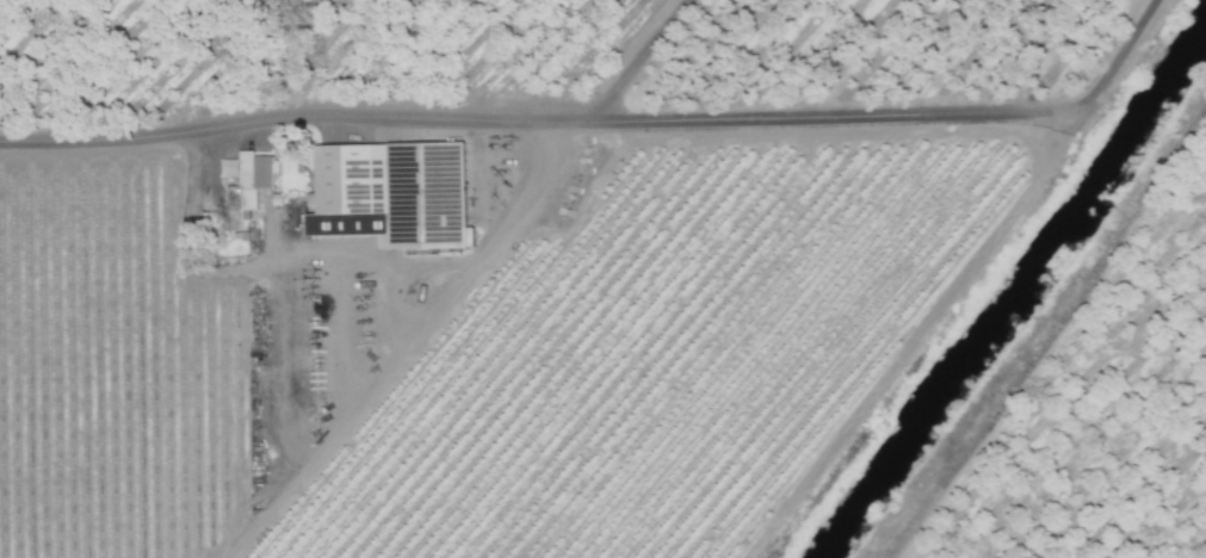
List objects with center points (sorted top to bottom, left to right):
road: (1109, 66)
road: (525, 123)
building: (249, 182)
building: (398, 196)

